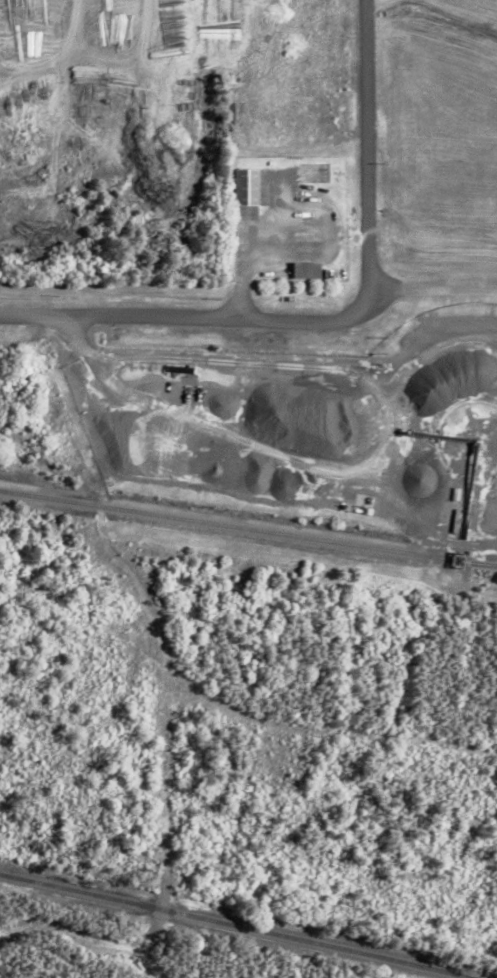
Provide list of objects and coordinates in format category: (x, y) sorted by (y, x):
building: (252, 186)
building: (311, 269)
road: (339, 320)
railway: (248, 528)
railway: (483, 562)
railway: (233, 924)

